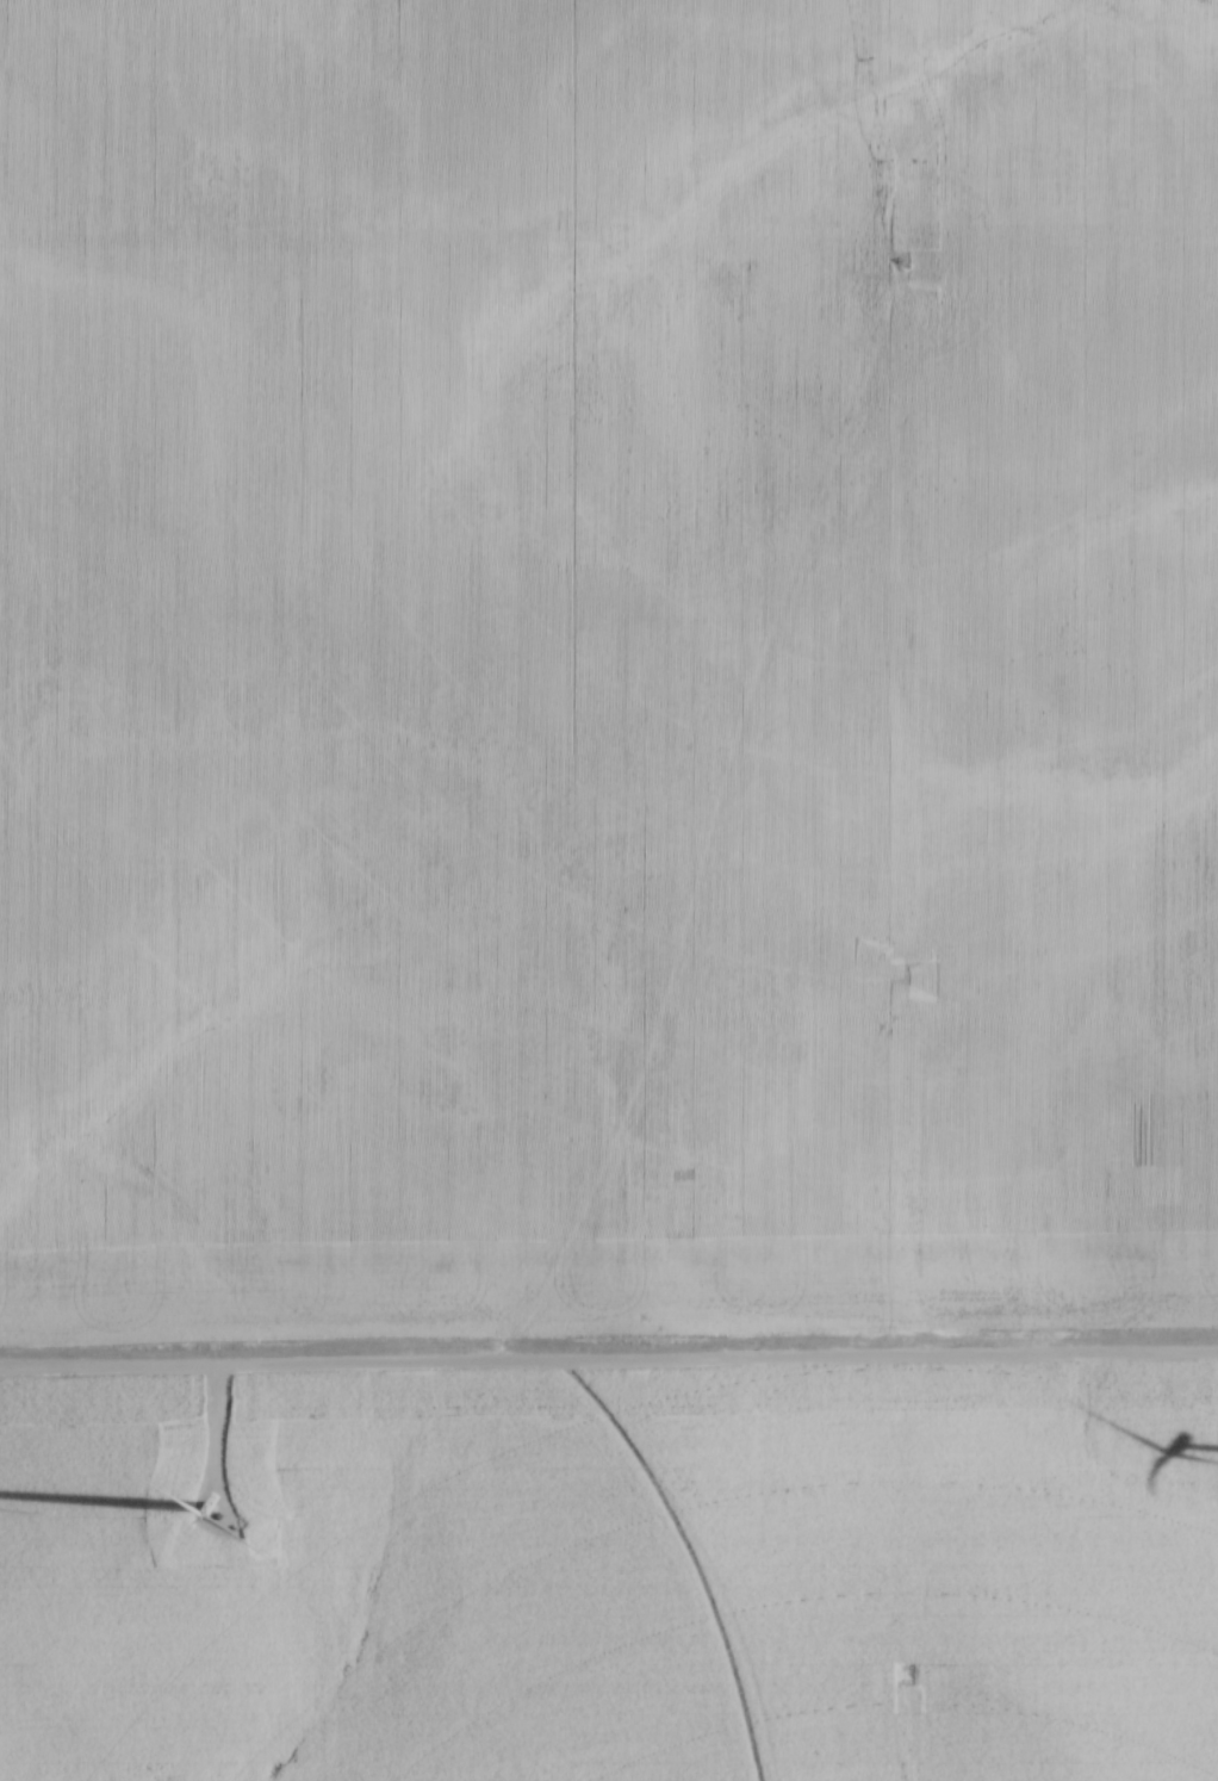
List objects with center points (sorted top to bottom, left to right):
road: (609, 1363)
wind turbine: (209, 1506)
road: (685, 1555)

